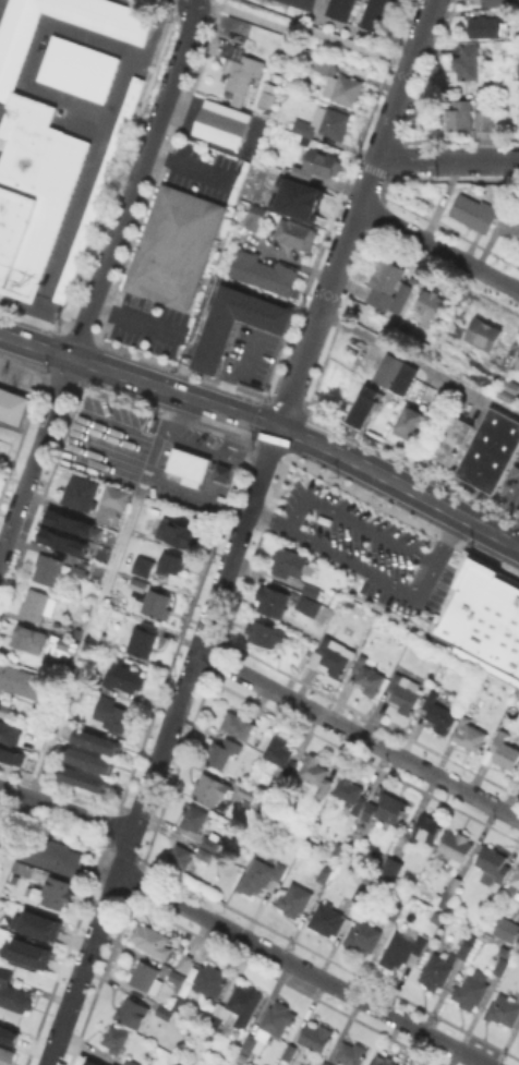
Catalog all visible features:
building: (494, 1)
park: (164, 2)
road: (188, 2)
road: (193, 2)
building: (303, 3)
building: (340, 9)
building: (376, 14)
building: (484, 25)
road: (300, 32)
road: (420, 33)
building: (467, 61)
building: (79, 65)
building: (518, 69)
building: (234, 70)
road: (123, 77)
building: (340, 83)
building: (263, 92)
road: (391, 111)
building: (460, 113)
building: (485, 119)
building: (325, 122)
building: (221, 125)
building: (43, 142)
road: (447, 160)
building: (322, 161)
road: (190, 162)
road: (134, 182)
building: (100, 187)
building: (263, 195)
building: (301, 195)
building: (475, 211)
building: (254, 216)
building: (511, 219)
building: (295, 232)
road: (347, 235)
road: (438, 249)
building: (177, 250)
building: (265, 275)
building: (384, 282)
building: (402, 301)
building: (430, 302)
road: (136, 317)
building: (275, 329)
building: (484, 331)
building: (447, 338)
building: (459, 350)
building: (518, 363)
road: (419, 364)
road: (231, 368)
building: (395, 371)
building: (494, 383)
building: (512, 388)
building: (11, 407)
building: (365, 407)
building: (411, 422)
road: (266, 423)
building: (457, 443)
building: (492, 456)
road: (35, 457)
building: (189, 465)
building: (81, 493)
building: (116, 495)
road: (268, 516)
road: (354, 520)
building: (70, 523)
building: (179, 532)
road: (120, 535)
road: (447, 538)
building: (60, 540)
parking lot: (366, 545)
building: (144, 561)
building: (170, 561)
building: (83, 567)
building: (289, 567)
building: (47, 568)
road: (367, 569)
building: (138, 583)
building: (314, 592)
building: (273, 600)
building: (156, 602)
building: (35, 603)
building: (309, 606)
building: (484, 619)
building: (265, 632)
building: (143, 638)
building: (25, 641)
building: (418, 641)
building: (64, 642)
building: (333, 656)
building: (123, 675)
building: (367, 675)
building: (21, 683)
road: (183, 690)
building: (405, 691)
building: (4, 709)
building: (438, 712)
building: (112, 716)
building: (239, 723)
building: (9, 733)
building: (469, 734)
road: (358, 735)
building: (95, 747)
building: (222, 750)
building: (505, 751)
building: (279, 753)
building: (11, 755)
building: (89, 765)
building: (315, 772)
building: (83, 784)
building: (263, 784)
building: (210, 788)
building: (248, 790)
building: (350, 794)
building: (390, 807)
road: (65, 810)
building: (278, 814)
building: (194, 818)
building: (427, 826)
building: (457, 844)
building: (339, 847)
building: (207, 849)
building: (1, 852)
building: (53, 856)
building: (180, 858)
building: (493, 864)
building: (391, 867)
building: (325, 873)
building: (262, 876)
building: (516, 878)
building: (358, 891)
building: (450, 891)
building: (53, 893)
building: (294, 900)
building: (395, 912)
building: (328, 919)
building: (36, 925)
building: (508, 930)
building: (364, 935)
building: (152, 940)
building: (402, 948)
building: (464, 948)
building: (24, 958)
building: (185, 963)
building: (500, 966)
road: (300, 969)
building: (438, 970)
building: (146, 977)
building: (178, 978)
building: (209, 981)
building: (471, 990)
building: (14, 994)
building: (178, 1003)
building: (237, 1007)
building: (504, 1009)
building: (132, 1012)
building: (161, 1012)
building: (269, 1028)
building: (10, 1032)
building: (518, 1036)
building: (116, 1039)
building: (309, 1042)
building: (352, 1053)
building: (7, 1055)
building: (384, 1060)
building: (131, 1061)
building: (84, 1063)
building: (372, 1063)
building: (96, 1064)
building: (325, 1064)

